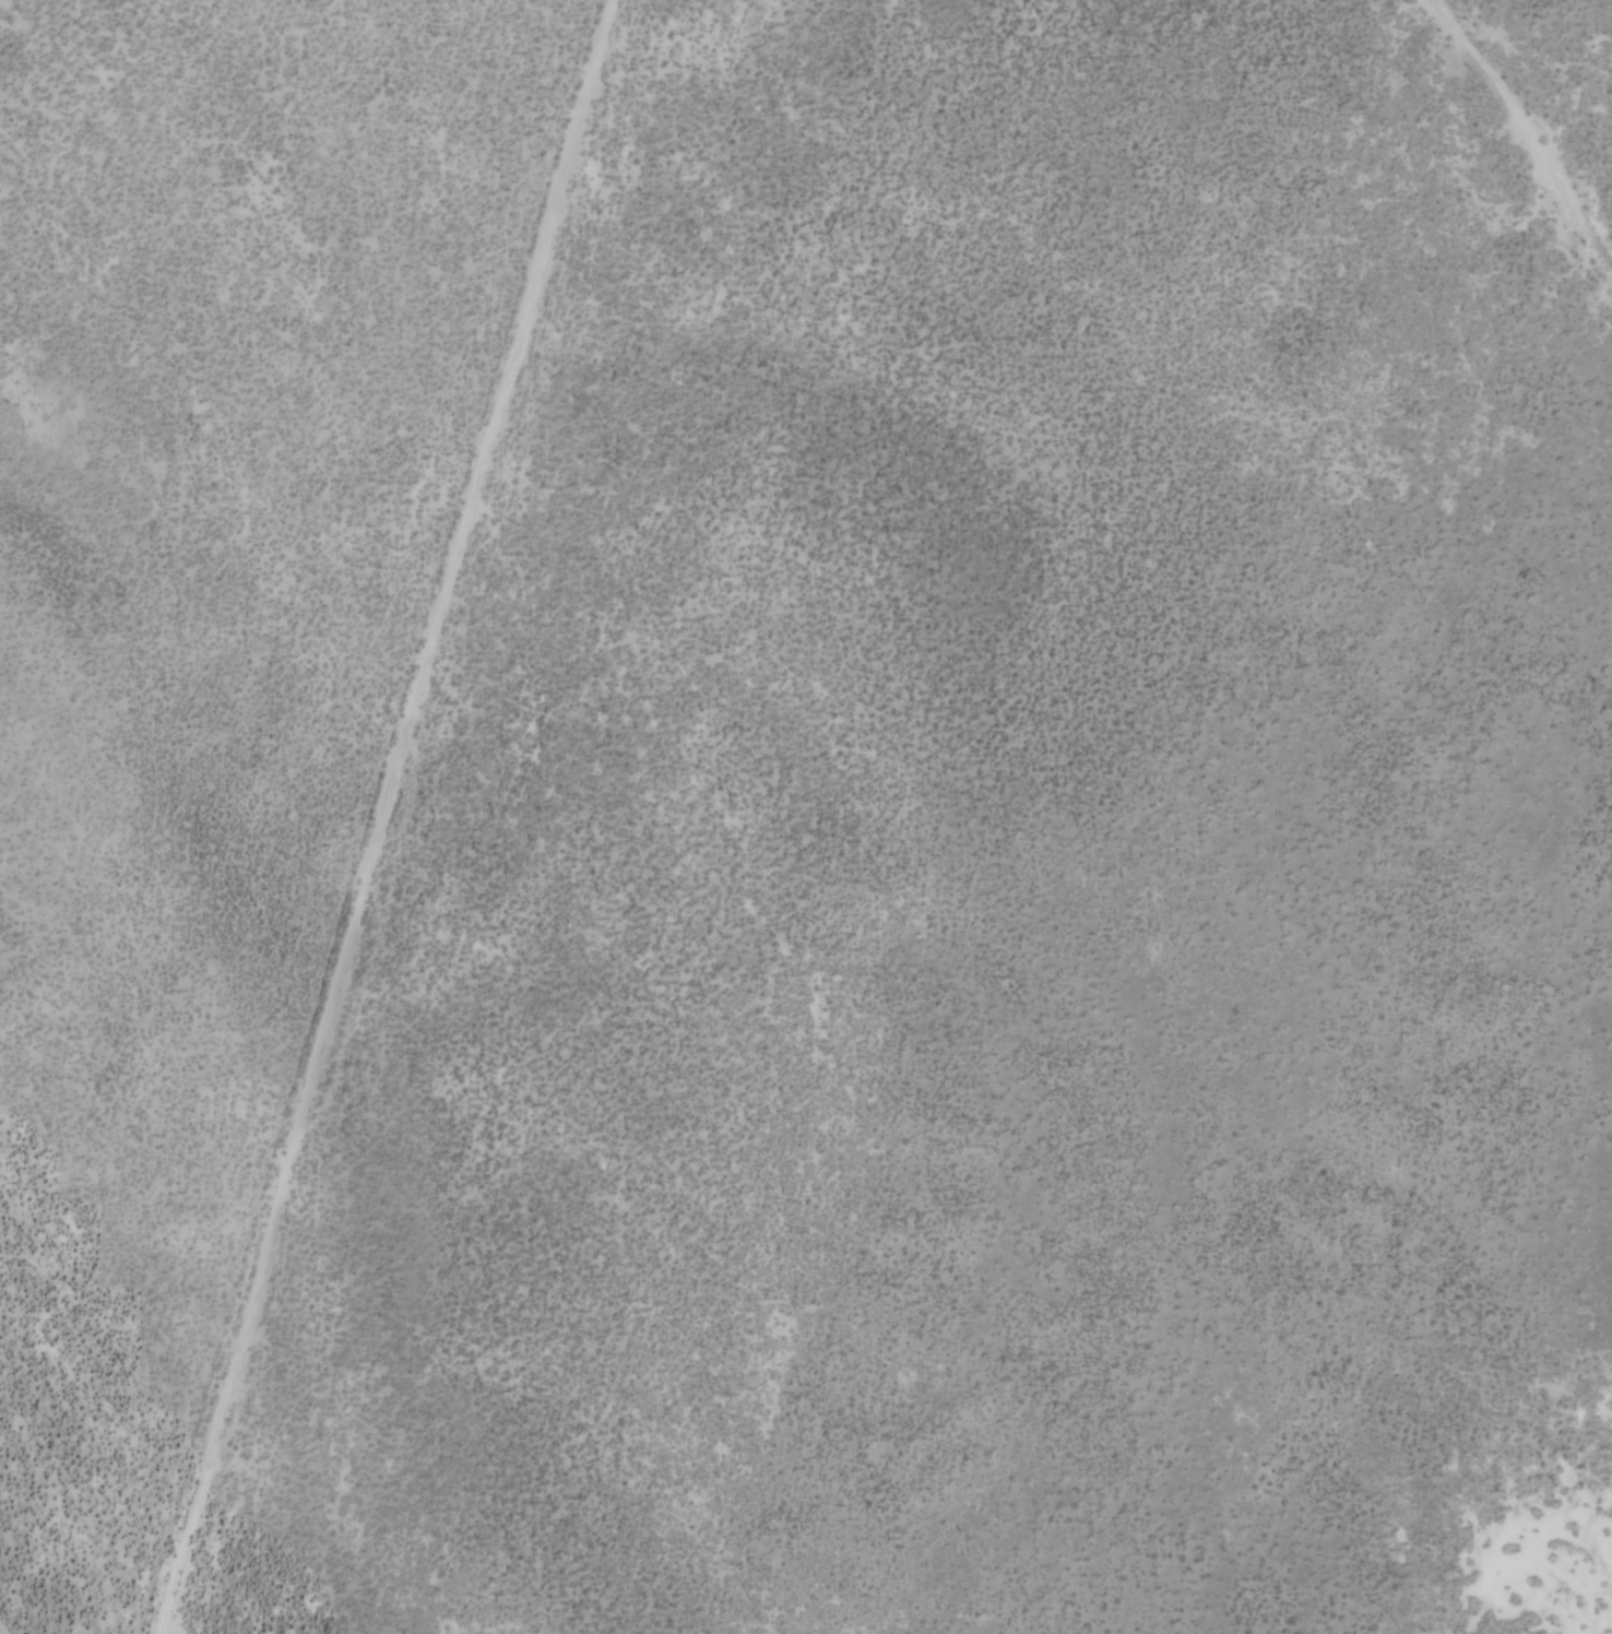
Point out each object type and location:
road: (1508, 143)
road: (415, 819)

